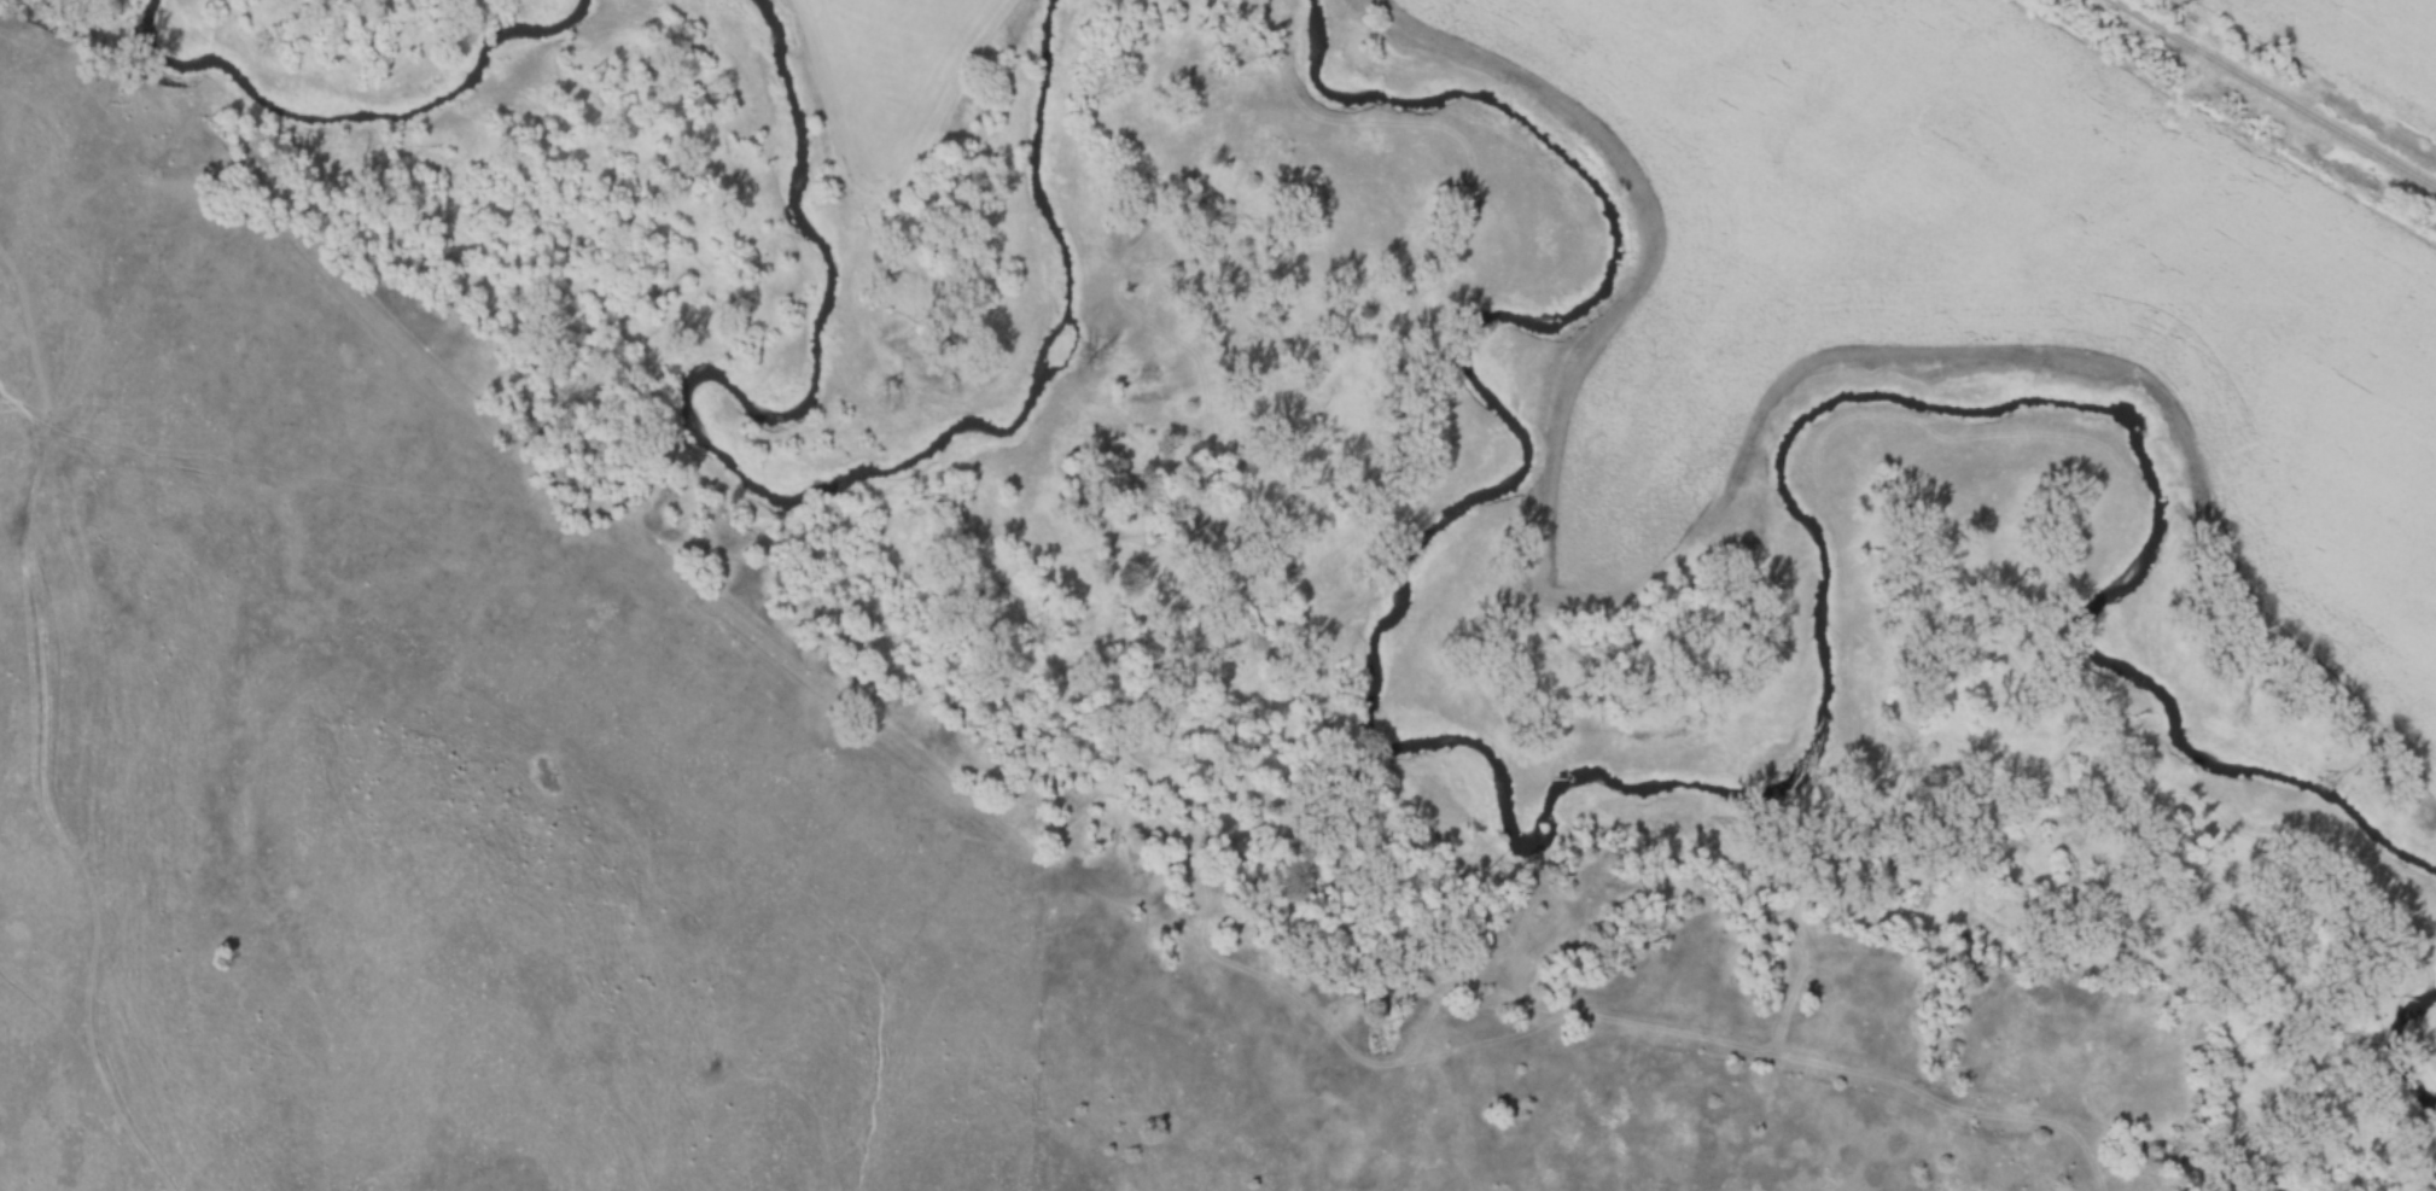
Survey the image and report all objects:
crop: (2372, 36)
railway: (2280, 88)

